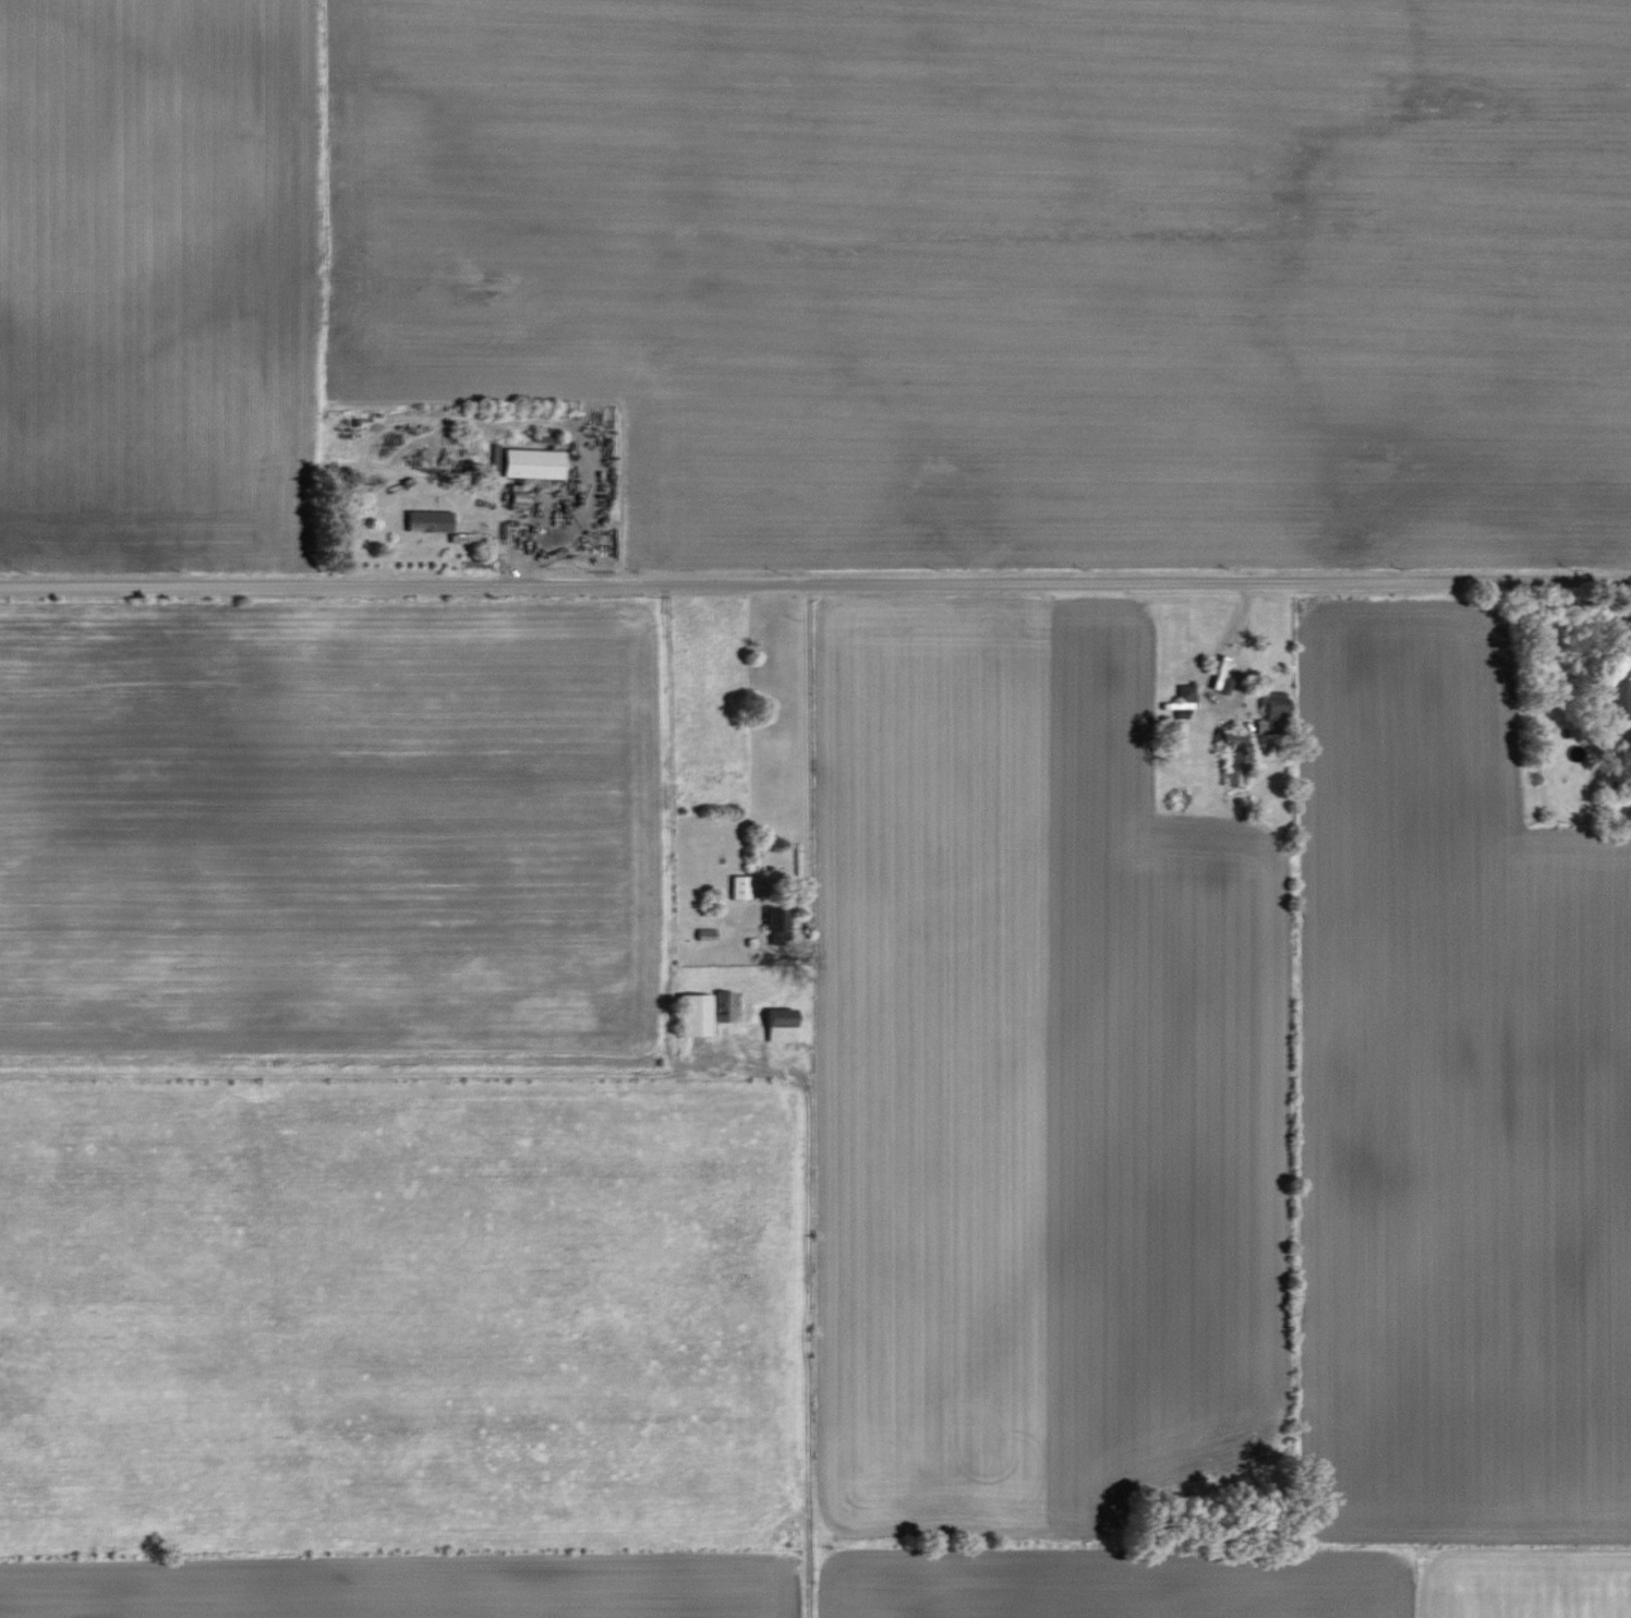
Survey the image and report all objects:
building: (537, 463)
building: (436, 520)
road: (814, 583)
road: (1237, 648)
building: (1182, 691)
building: (1618, 693)
building: (1267, 703)
road: (800, 748)
building: (738, 886)
building: (772, 919)
building: (724, 1005)
building: (690, 1014)
building: (776, 1025)

